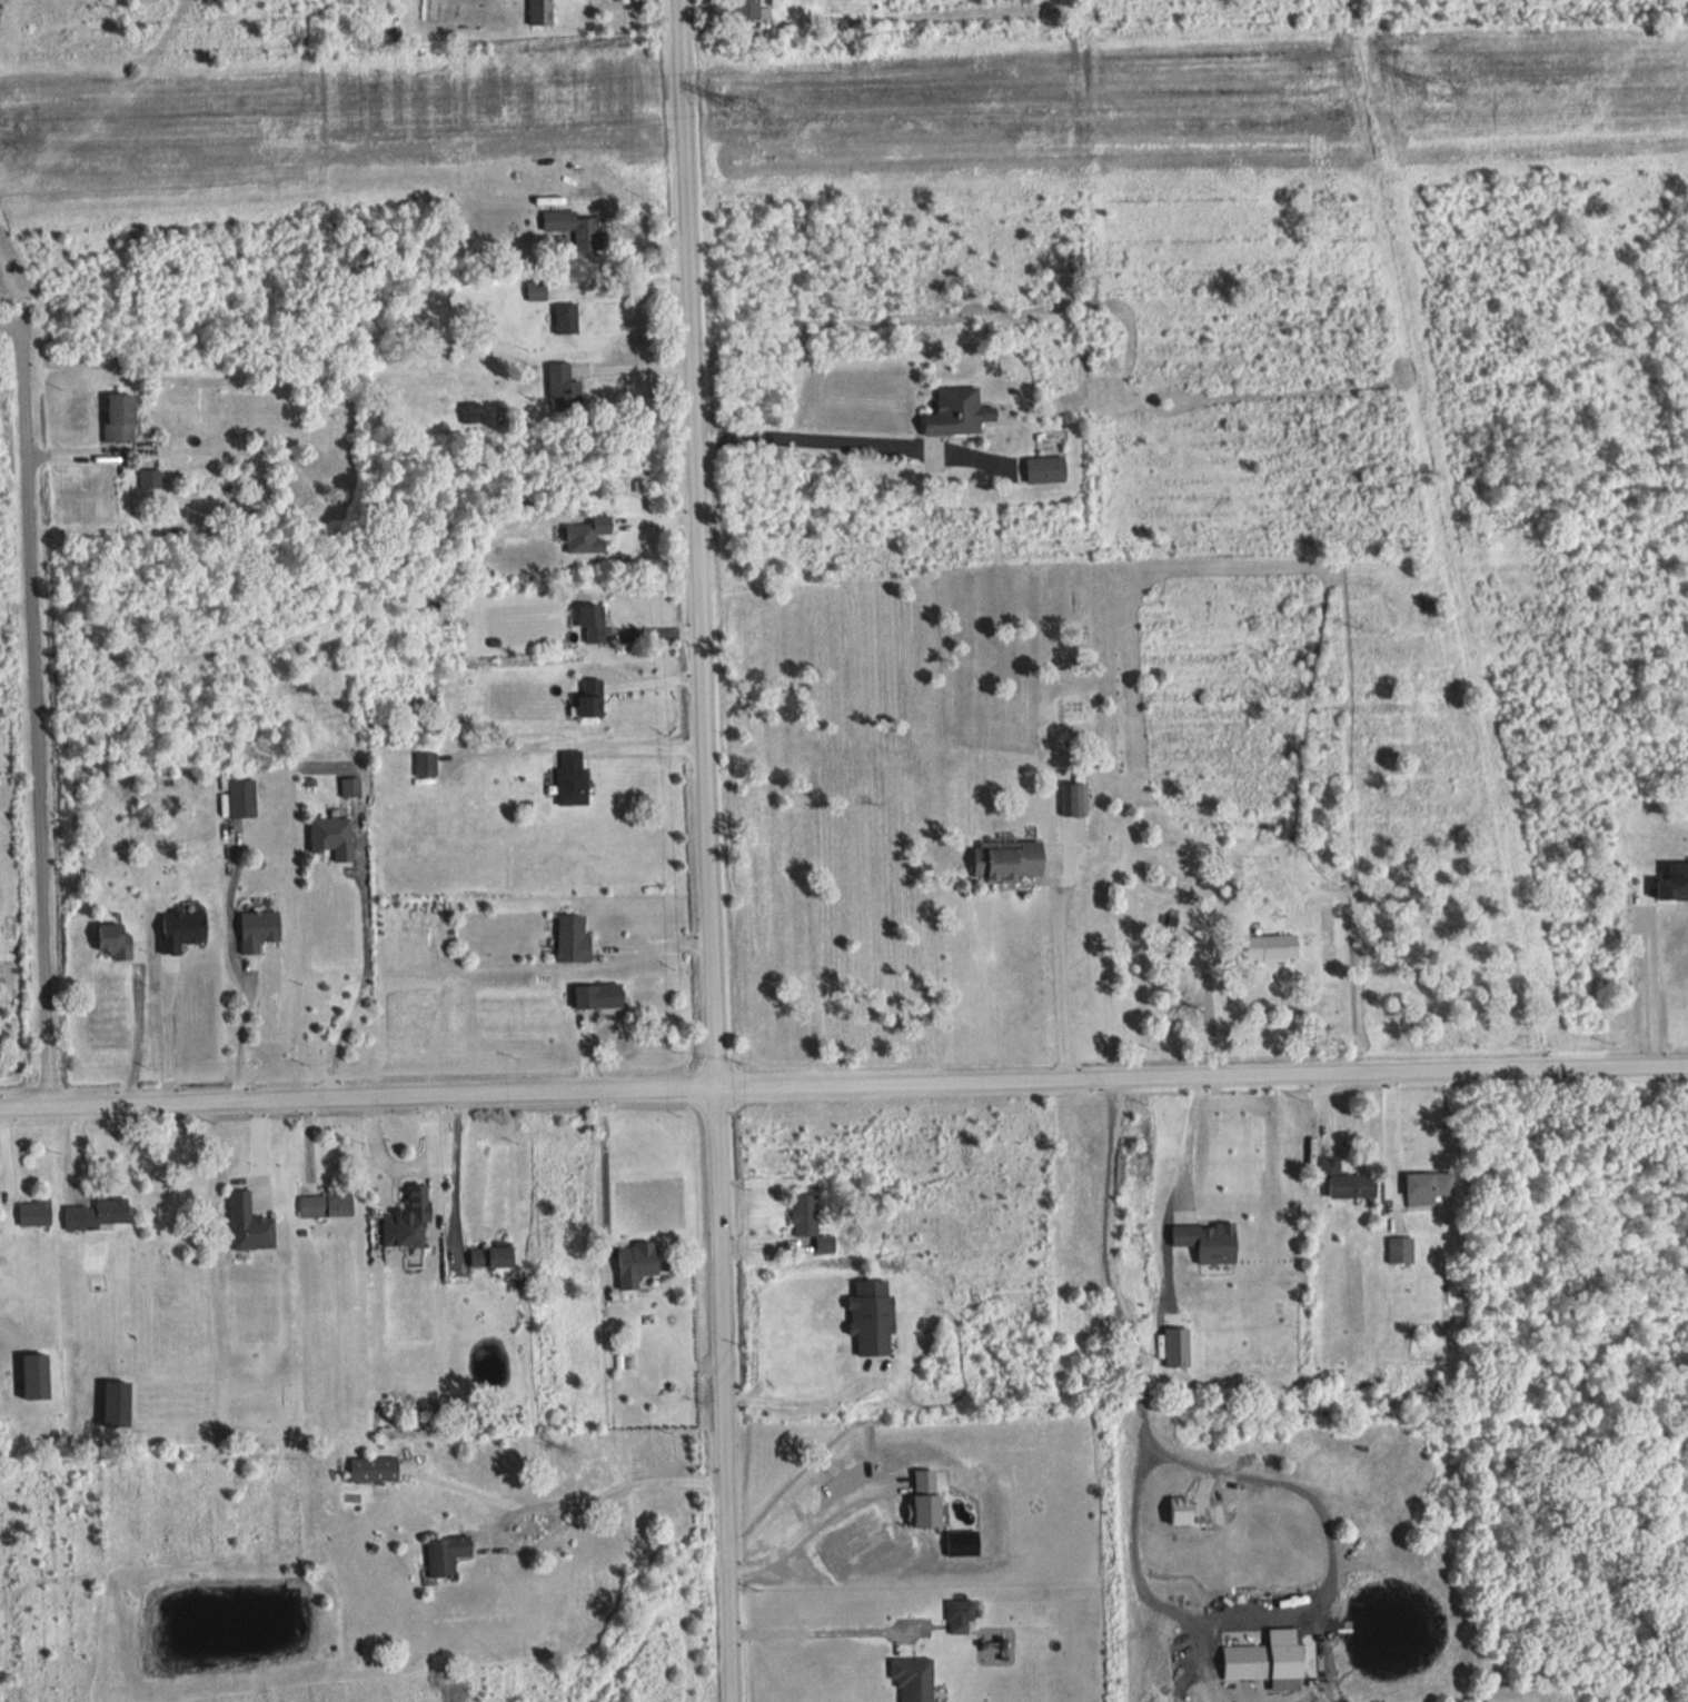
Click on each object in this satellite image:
building: (751, 10)
building: (542, 11)
building: (836, 24)
power tower: (1427, 102)
power tower: (747, 120)
power tower: (14, 138)
road: (633, 219)
building: (575, 227)
road: (629, 286)
building: (536, 290)
building: (567, 318)
road: (637, 367)
building: (563, 388)
building: (470, 411)
building: (964, 412)
building: (121, 418)
road: (815, 439)
building: (1046, 469)
building: (588, 536)
building: (595, 624)
building: (593, 698)
road: (32, 703)
road: (636, 745)
building: (426, 763)
building: (573, 778)
building: (351, 787)
building: (242, 798)
building: (1075, 799)
building: (334, 838)
road: (709, 850)
building: (1010, 860)
building: (1675, 884)
building: (181, 929)
building: (259, 929)
building: (574, 938)
building: (116, 939)
building: (1273, 947)
road: (1055, 973)
road: (1642, 983)
road: (364, 985)
building: (599, 995)
road: (1207, 1013)
road: (139, 1032)
road: (240, 1034)
road: (166, 1037)
road: (843, 1084)
road: (1384, 1146)
road: (399, 1167)
road: (449, 1174)
building: (1346, 1182)
road: (607, 1184)
building: (1428, 1187)
road: (1174, 1188)
building: (327, 1205)
building: (36, 1214)
building: (97, 1214)
building: (409, 1221)
building: (811, 1222)
building: (250, 1224)
building: (1209, 1242)
building: (1400, 1250)
building: (493, 1257)
building: (638, 1264)
building: (873, 1318)
building: (36, 1377)
road: (792, 1402)
building: (118, 1404)
building: (375, 1470)
building: (1184, 1519)
road: (805, 1522)
road: (563, 1527)
building: (447, 1556)
road: (1134, 1570)
building: (957, 1626)
road: (816, 1630)
building: (1267, 1664)
building: (915, 1679)

